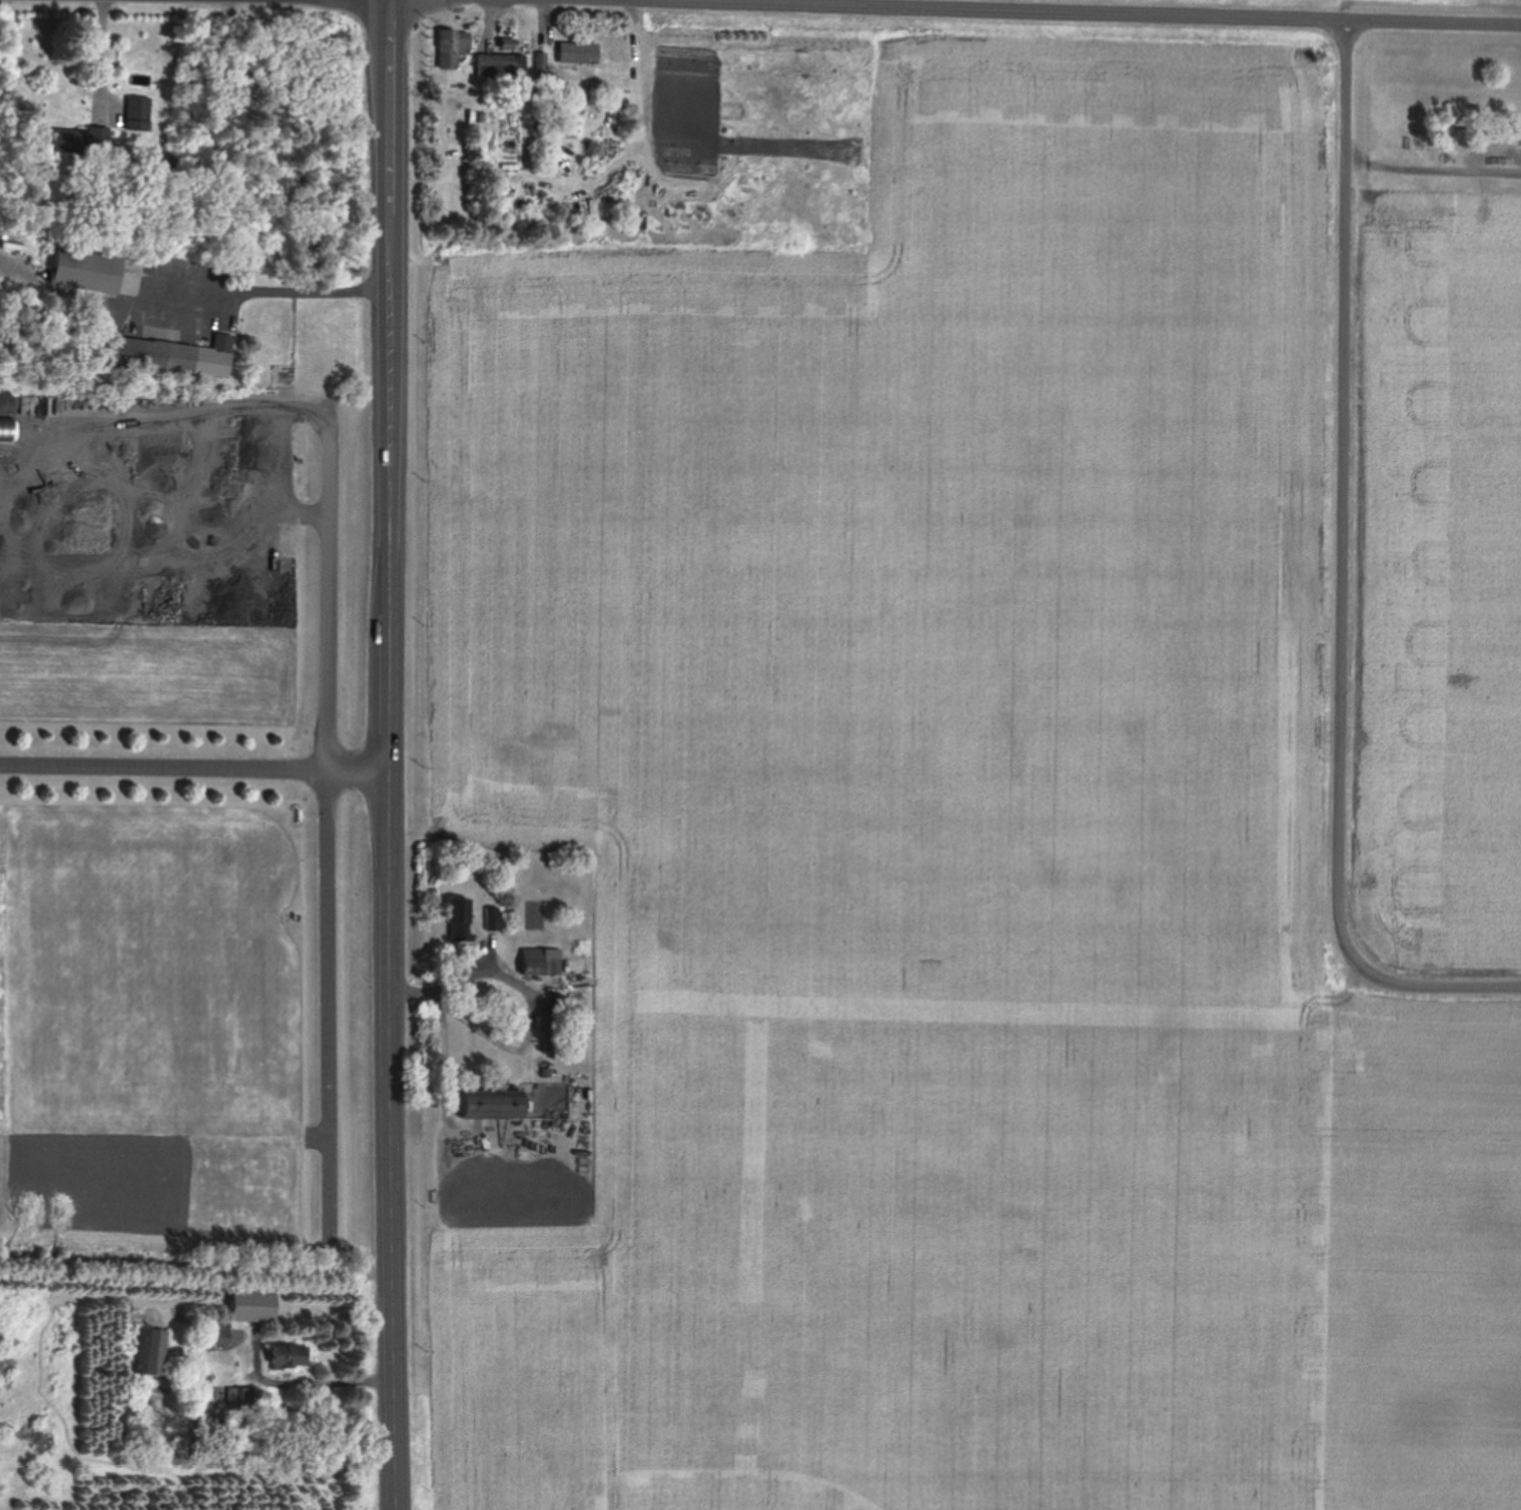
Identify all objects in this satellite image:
road: (1171, 10)
building: (453, 45)
building: (578, 51)
building: (674, 52)
building: (541, 60)
building: (504, 65)
building: (138, 112)
building: (80, 139)
building: (85, 269)
building: (172, 354)
road: (1347, 460)
road: (393, 755)
road: (196, 766)
road: (326, 821)
building: (458, 918)
building: (492, 918)
building: (542, 961)
road: (1410, 974)
building: (490, 1106)
building: (252, 1305)
building: (213, 1331)
building: (149, 1351)
building: (286, 1356)
building: (239, 1393)

